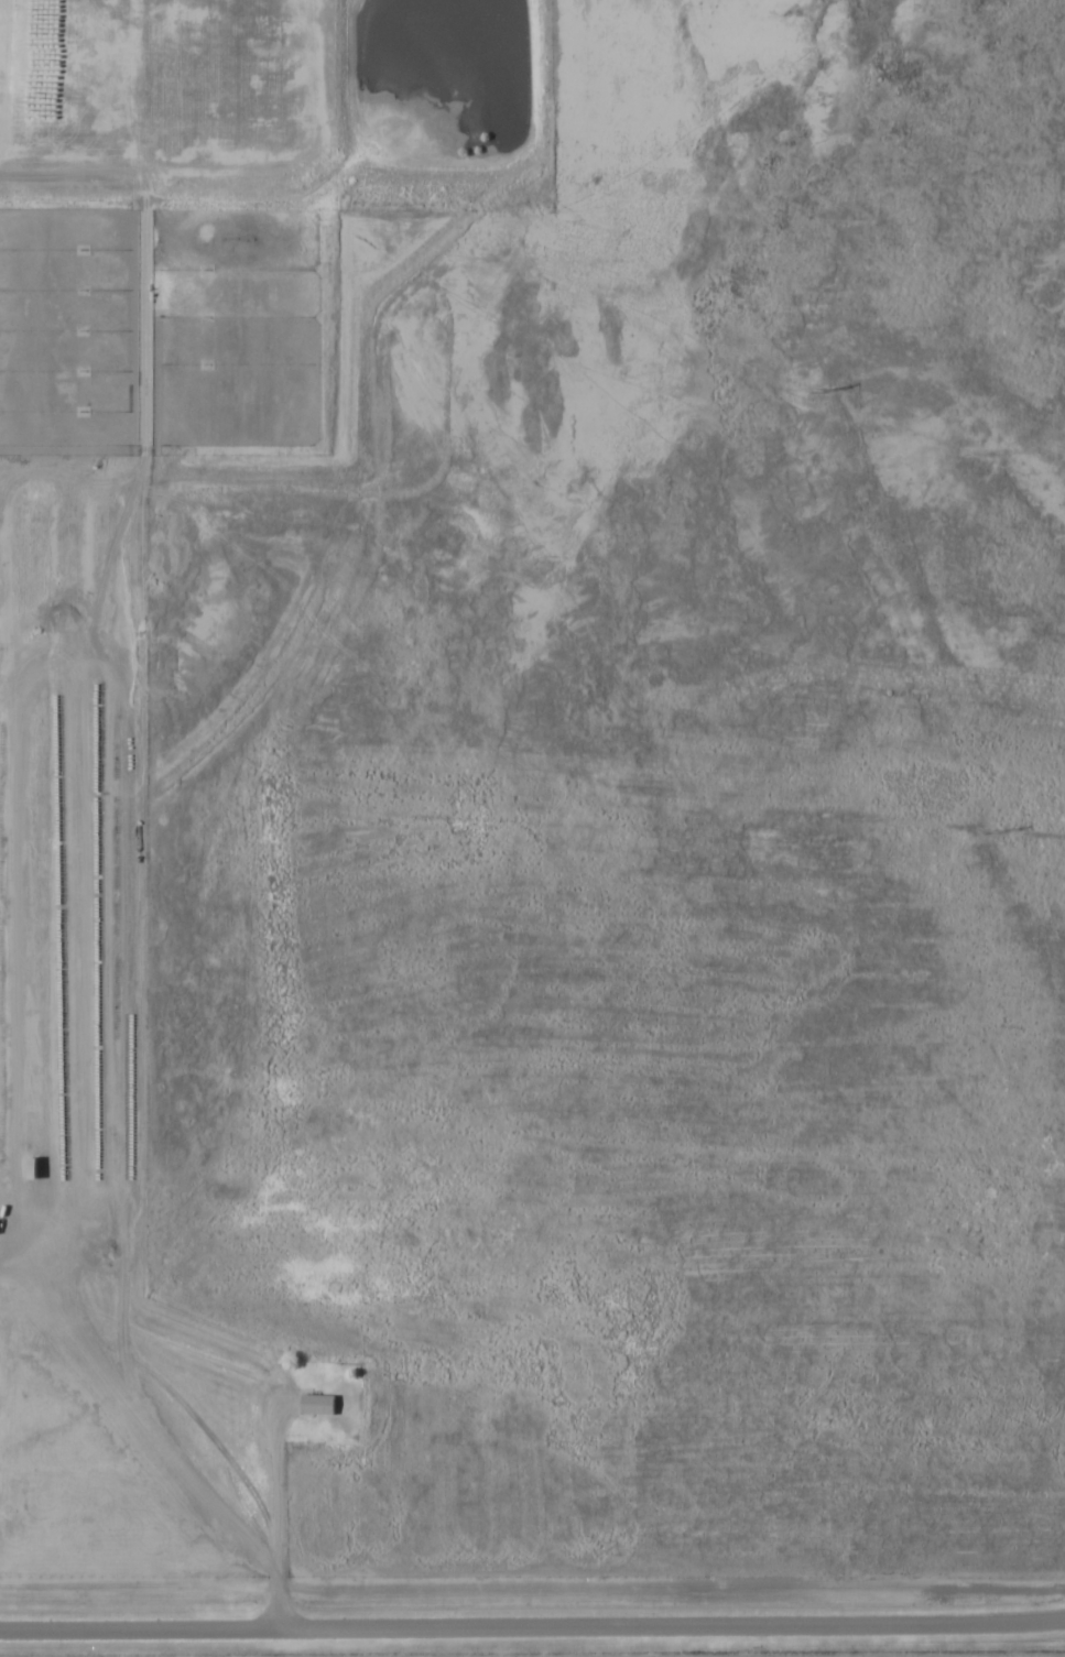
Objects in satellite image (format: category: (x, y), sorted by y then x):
power tower: (823, 389)
power tower: (999, 830)
building: (315, 1403)
road: (532, 1628)

